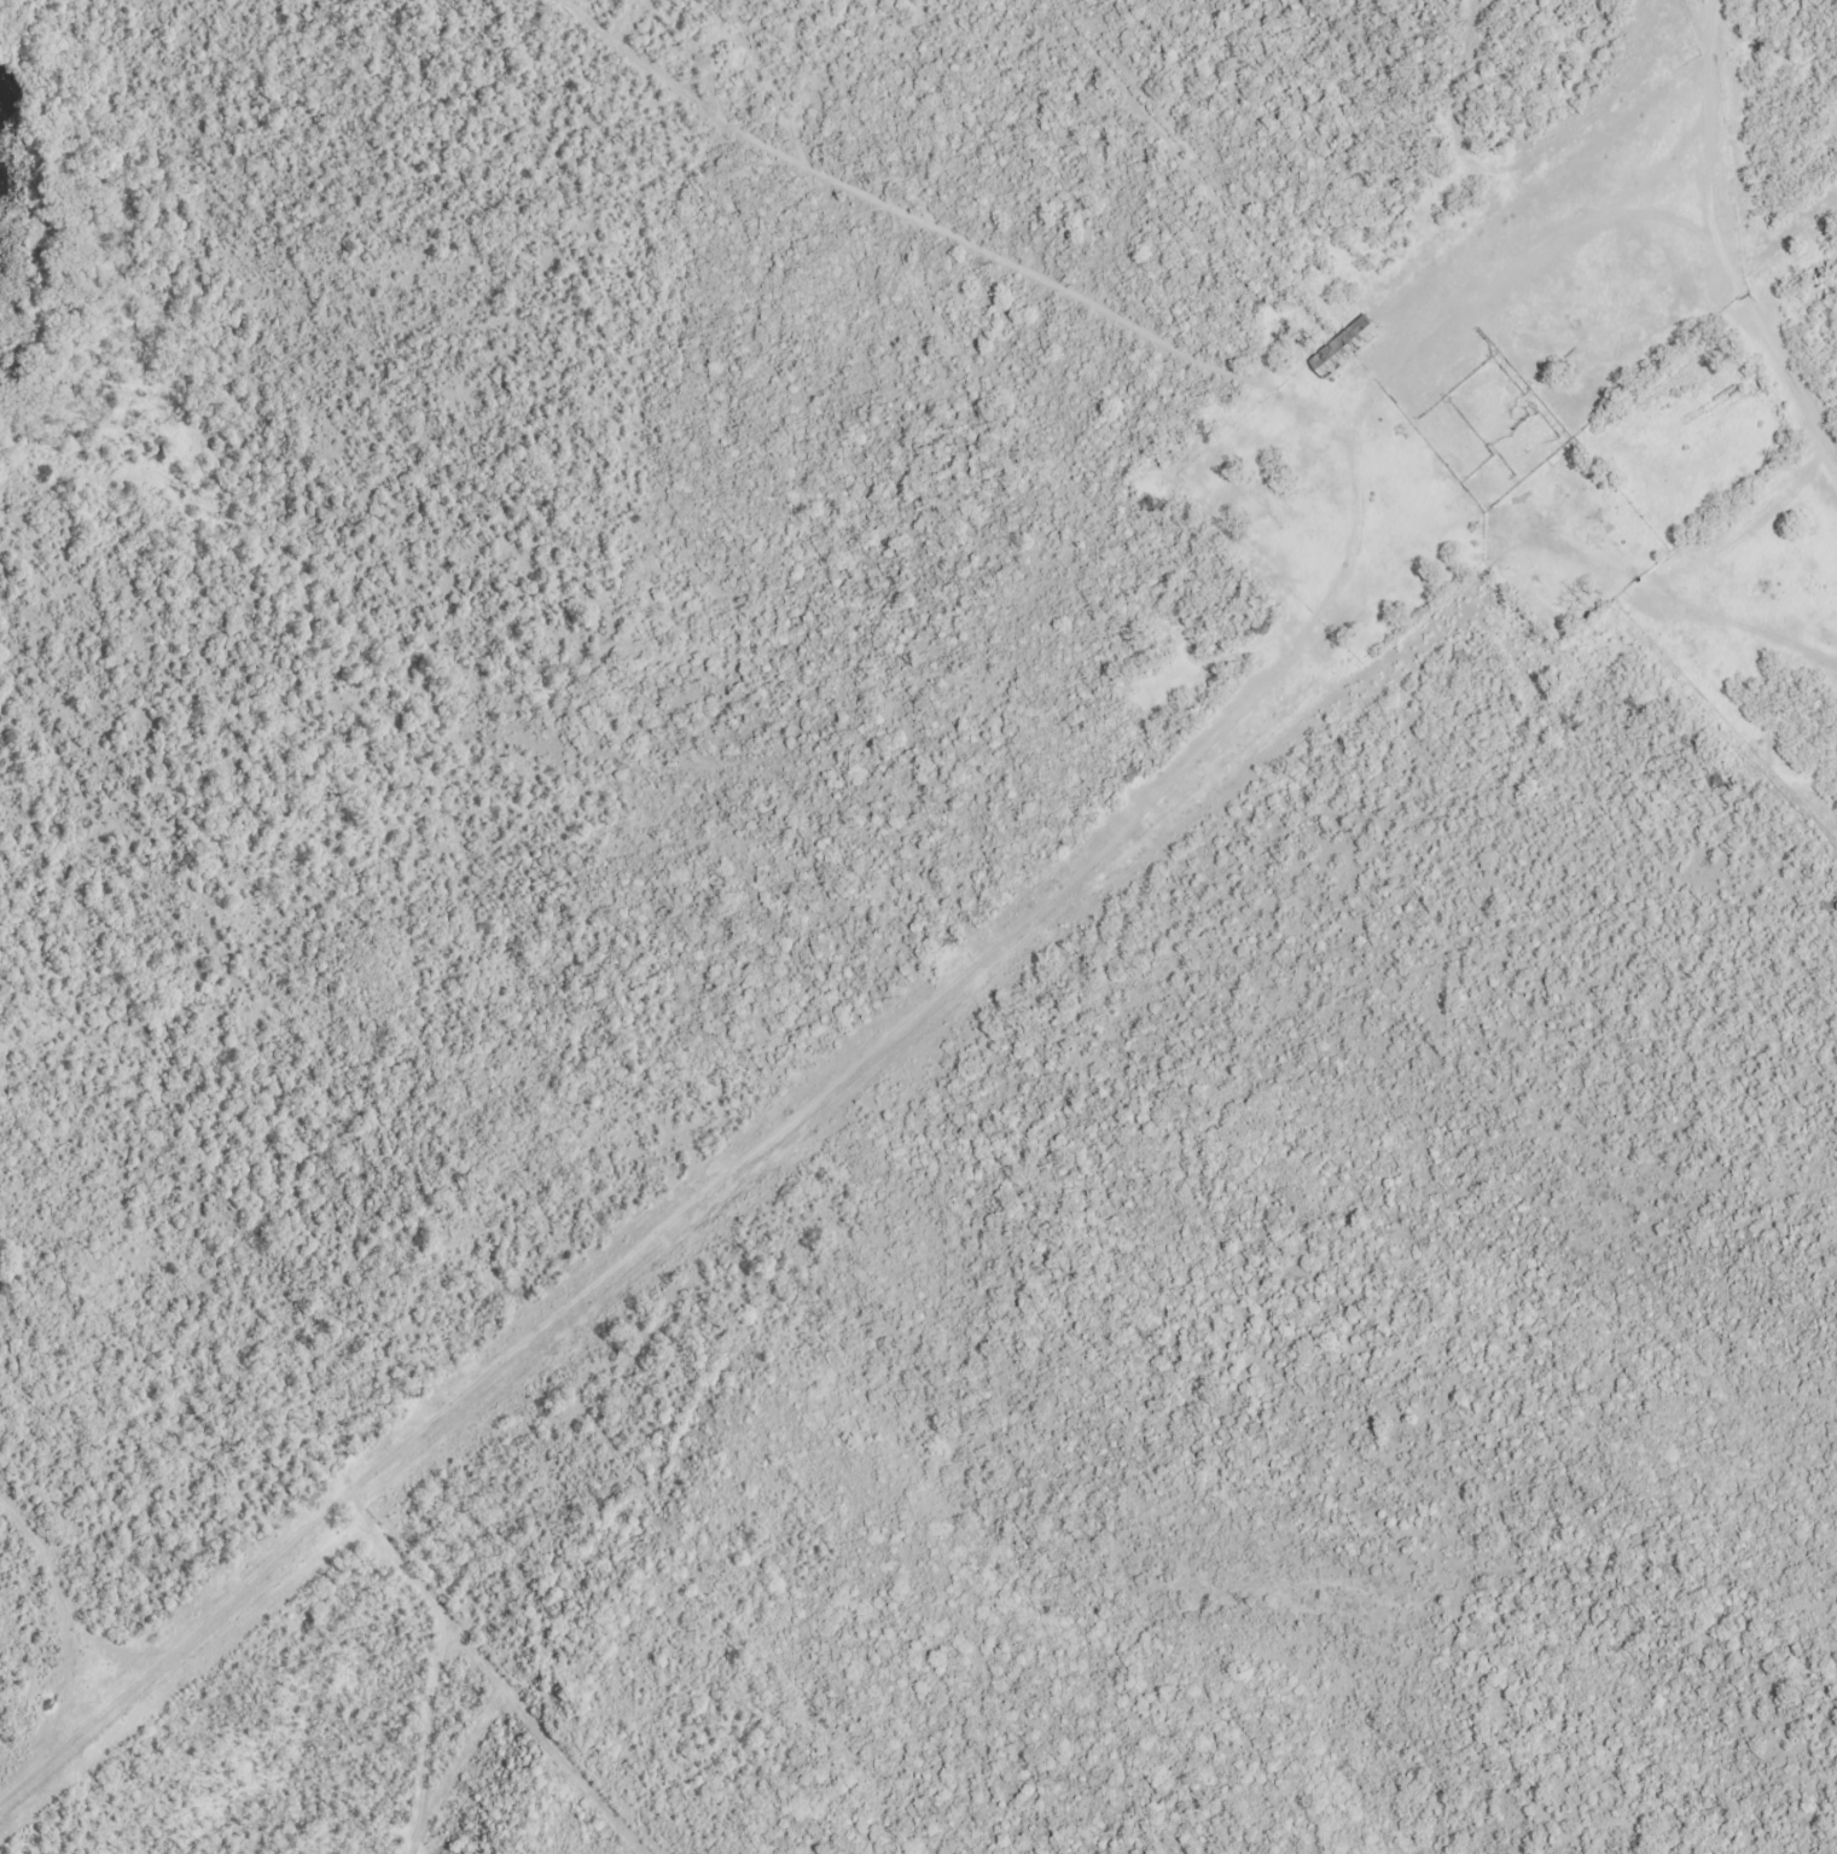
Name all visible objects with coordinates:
road: (1168, 268)
building: (1344, 345)
road: (914, 998)

